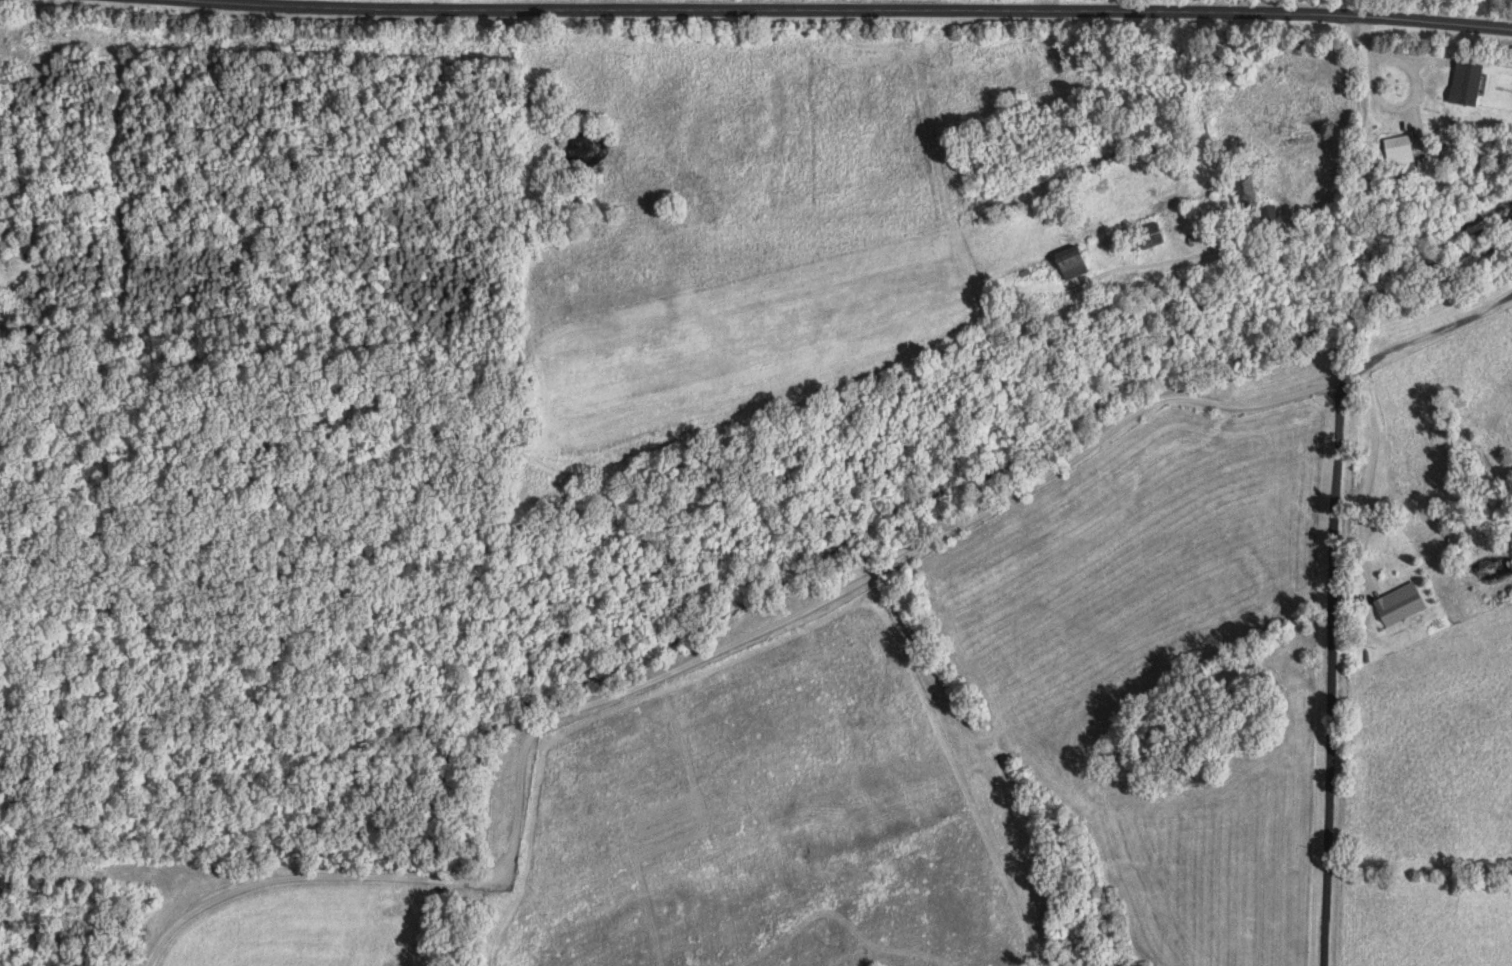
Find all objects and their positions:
road: (868, 9)
building: (1460, 84)
building: (1395, 153)
building: (1243, 192)
building: (1157, 237)
building: (1081, 265)
road: (1435, 330)
road: (1367, 482)
building: (1396, 606)
road: (704, 655)
road: (1331, 672)

